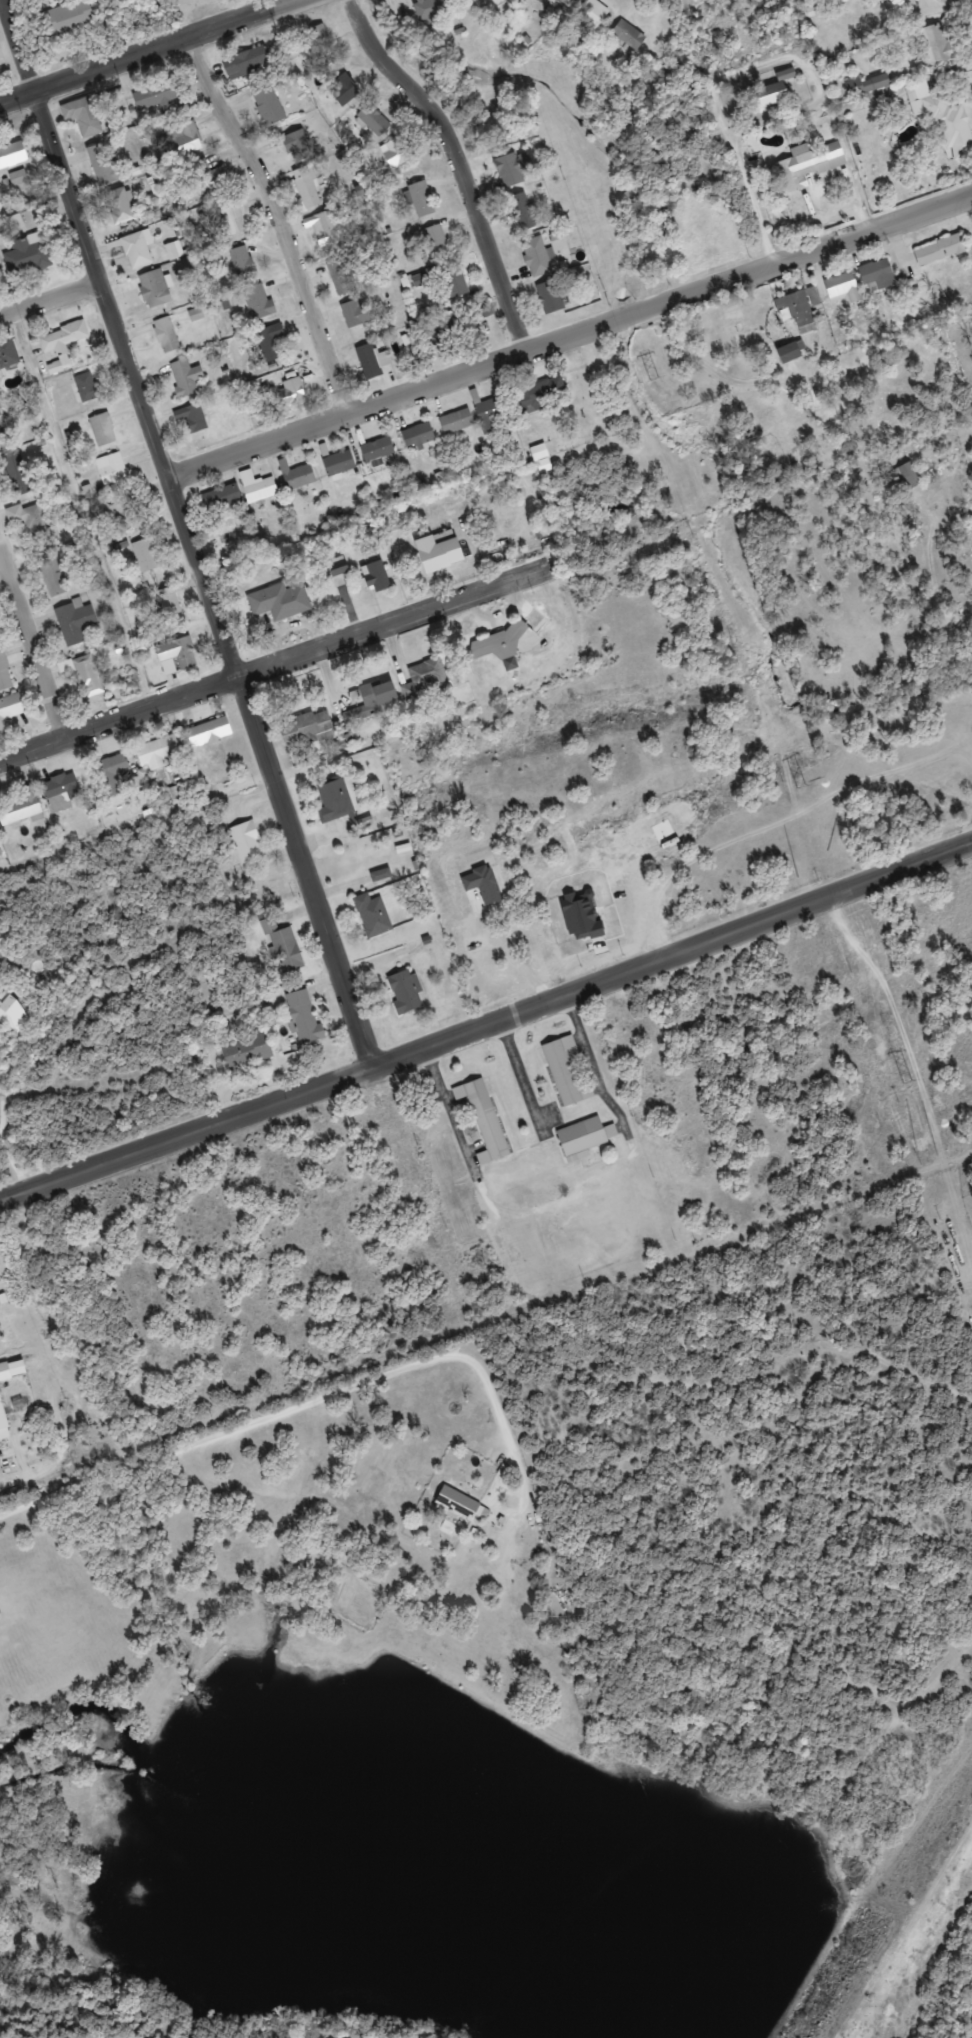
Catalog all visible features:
building: (563, 2)
building: (605, 5)
building: (917, 7)
building: (431, 9)
building: (69, 18)
building: (634, 20)
building: (625, 36)
building: (316, 43)
building: (933, 46)
road: (143, 50)
building: (248, 63)
building: (869, 84)
building: (343, 89)
building: (772, 94)
building: (157, 95)
building: (269, 106)
building: (83, 116)
building: (373, 120)
building: (948, 122)
building: (186, 139)
building: (297, 144)
building: (12, 154)
road: (469, 158)
building: (102, 165)
building: (514, 168)
building: (799, 169)
building: (212, 177)
building: (17, 178)
building: (307, 187)
road: (36, 195)
building: (421, 199)
building: (119, 207)
building: (526, 212)
road: (285, 215)
building: (233, 217)
building: (17, 223)
building: (323, 224)
building: (437, 242)
building: (138, 249)
building: (939, 250)
building: (29, 256)
building: (537, 257)
building: (243, 261)
building: (878, 274)
building: (341, 277)
building: (454, 282)
building: (844, 288)
building: (155, 289)
road: (52, 295)
building: (551, 297)
building: (259, 301)
building: (356, 313)
building: (799, 313)
road: (571, 329)
building: (275, 333)
building: (167, 334)
building: (445, 335)
building: (62, 340)
building: (790, 353)
building: (9, 354)
building: (372, 361)
building: (55, 368)
power tower: (652, 377)
building: (186, 378)
building: (88, 388)
building: (293, 392)
building: (539, 393)
building: (491, 415)
building: (196, 417)
building: (457, 421)
building: (103, 429)
building: (419, 435)
building: (4, 436)
building: (379, 449)
building: (340, 463)
building: (112, 468)
building: (908, 472)
building: (17, 474)
building: (297, 476)
building: (258, 487)
building: (224, 499)
road: (88, 503)
building: (121, 508)
building: (31, 521)
road: (193, 529)
building: (439, 554)
building: (145, 555)
building: (337, 566)
building: (52, 578)
building: (280, 601)
building: (75, 621)
road: (34, 630)
building: (499, 644)
road: (280, 655)
building: (177, 656)
building: (5, 674)
building: (88, 676)
building: (426, 679)
building: (372, 699)
building: (9, 712)
building: (307, 729)
building: (209, 732)
building: (159, 752)
building: (112, 773)
power tower: (800, 784)
building: (61, 792)
building: (334, 800)
building: (21, 808)
building: (246, 843)
building: (373, 915)
building: (284, 948)
building: (405, 992)
building: (12, 1013)
building: (305, 1018)
road: (487, 1018)
building: (248, 1051)
road: (604, 1054)
building: (579, 1060)
road: (533, 1066)
building: (565, 1072)
power tower: (907, 1080)
building: (496, 1105)
building: (484, 1120)
building: (595, 1124)
road: (506, 1199)
building: (5, 1371)
road: (288, 1408)
building: (4, 1423)
building: (471, 1490)
building: (462, 1505)
dam: (889, 1913)

